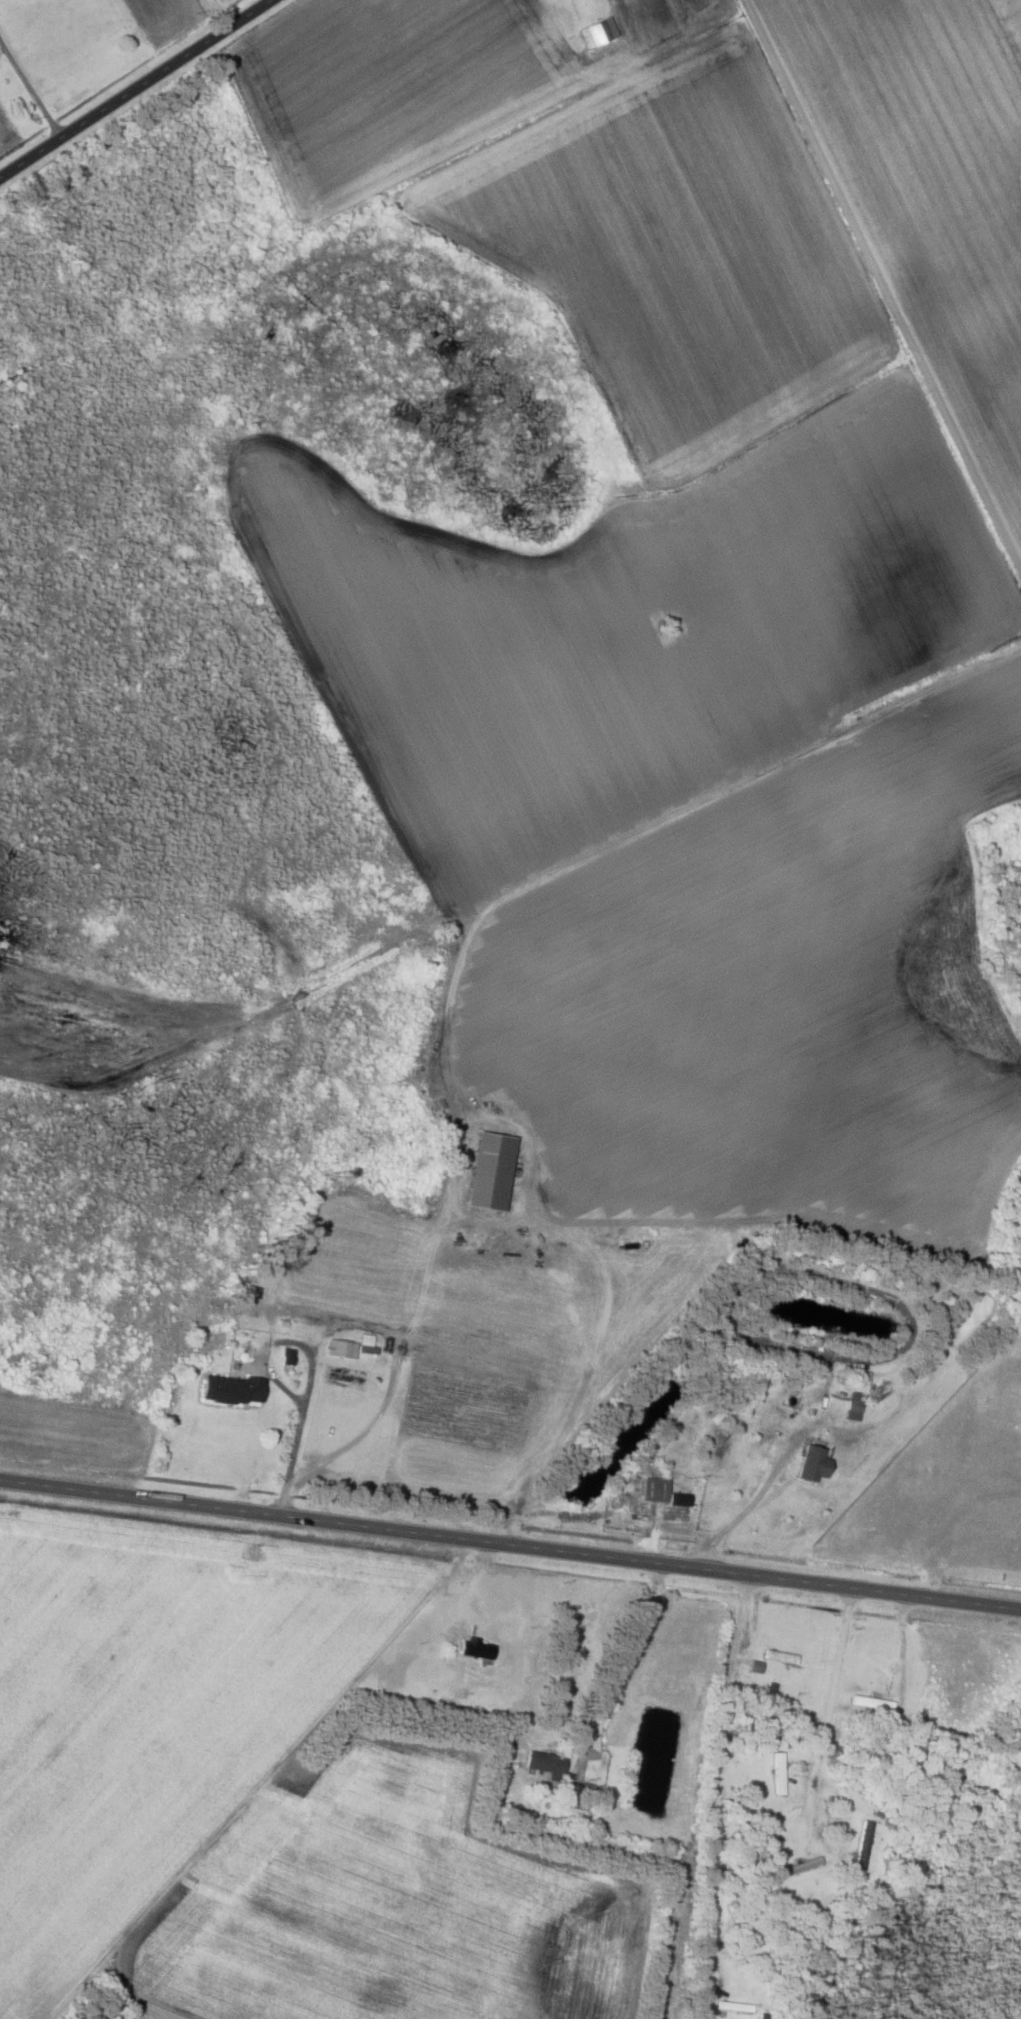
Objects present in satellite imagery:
building: (599, 33)
road: (134, 87)
building: (493, 1171)
building: (368, 1343)
building: (342, 1349)
building: (235, 1389)
building: (855, 1406)
building: (814, 1491)
building: (662, 1493)
road: (512, 1521)
building: (479, 1649)
building: (781, 1657)
building: (873, 1704)
building: (548, 1765)
building: (779, 1773)
building: (576, 1796)
building: (864, 1845)
building: (804, 1866)
building: (741, 1922)
building: (736, 2006)

